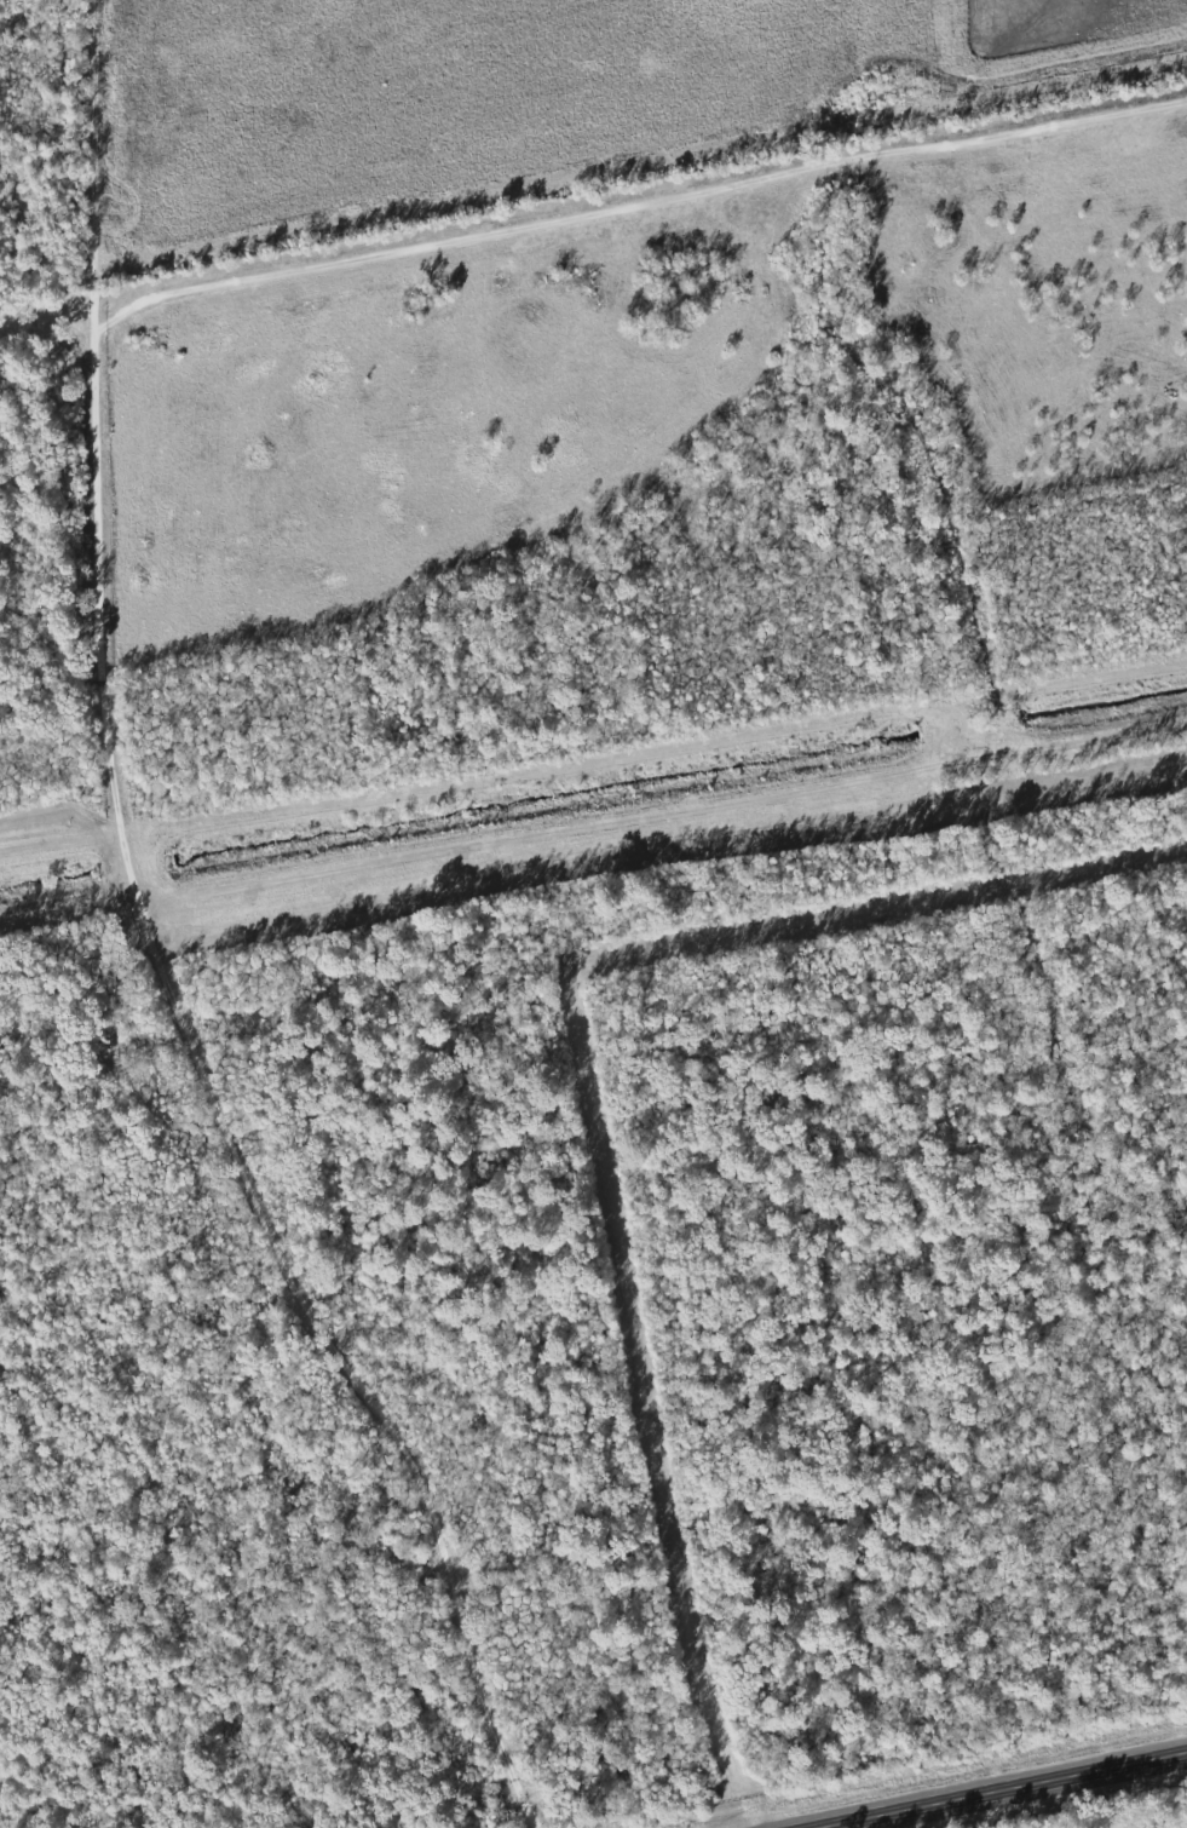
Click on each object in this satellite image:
road: (155, 953)
road: (997, 1788)

